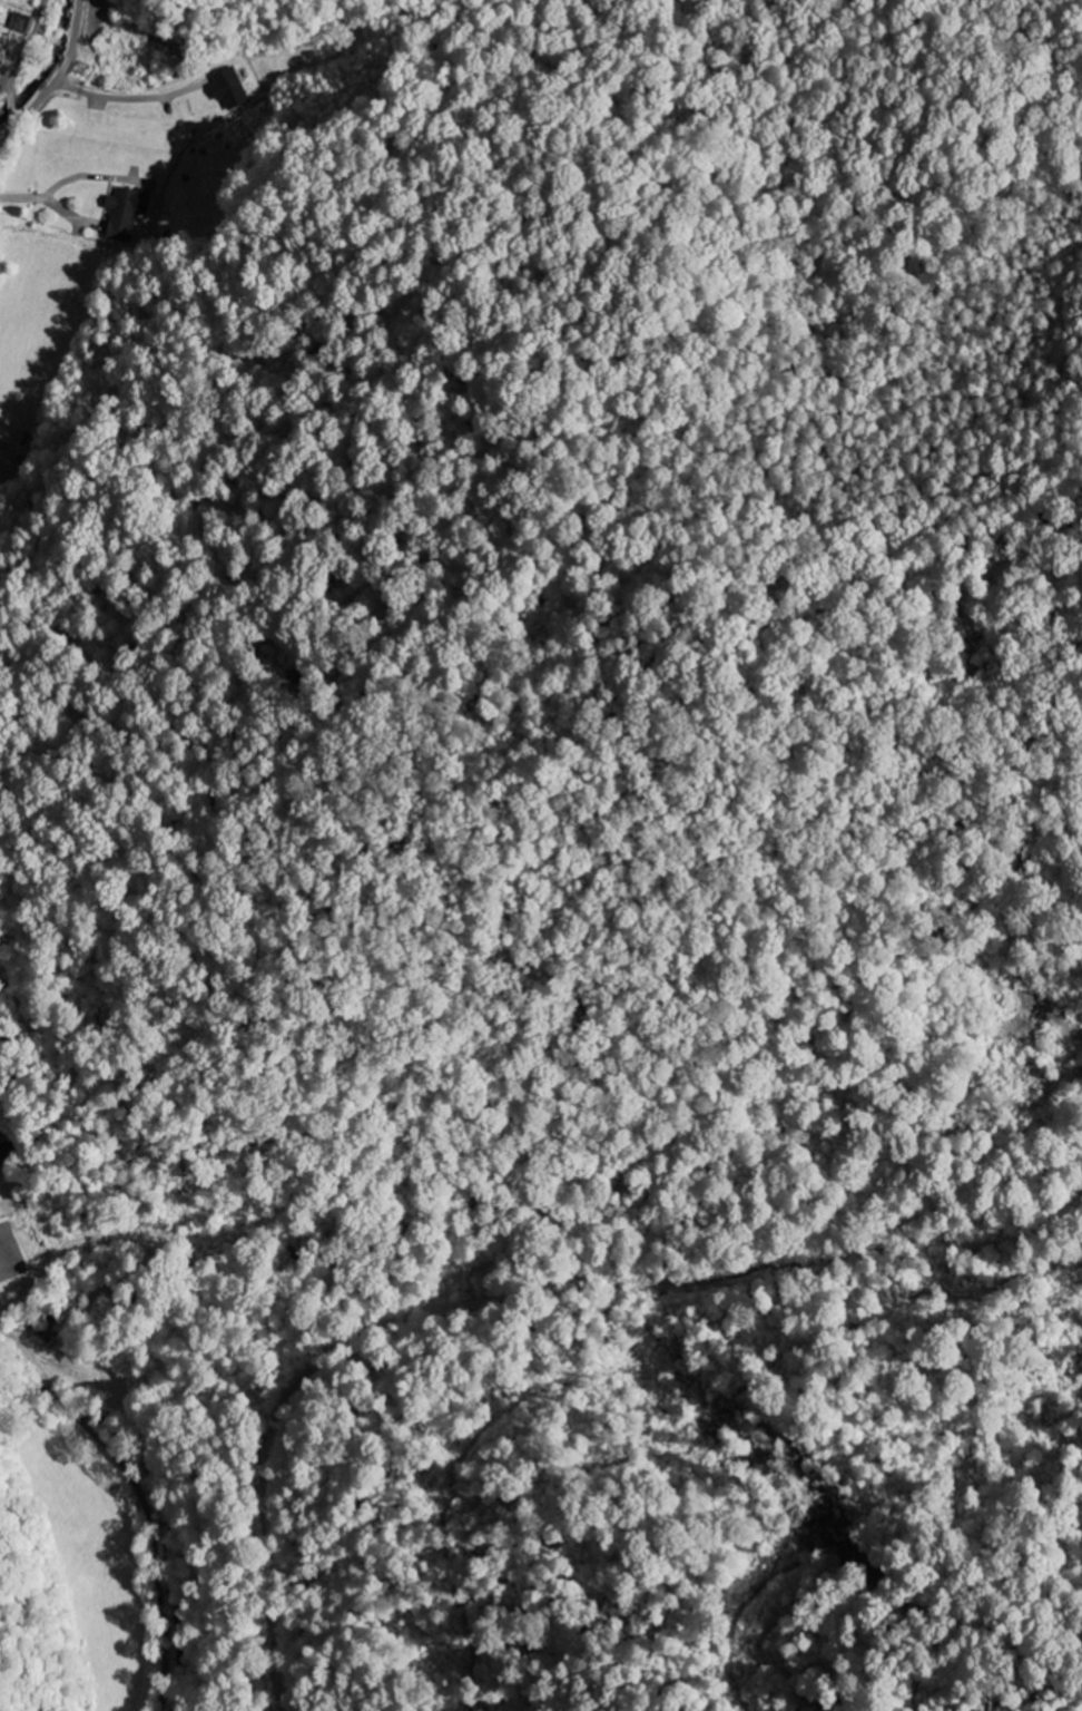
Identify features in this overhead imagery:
building: (24, 22)
road: (19, 65)
road: (50, 78)
building: (232, 88)
building: (129, 212)
building: (4, 1156)
road: (24, 1349)

